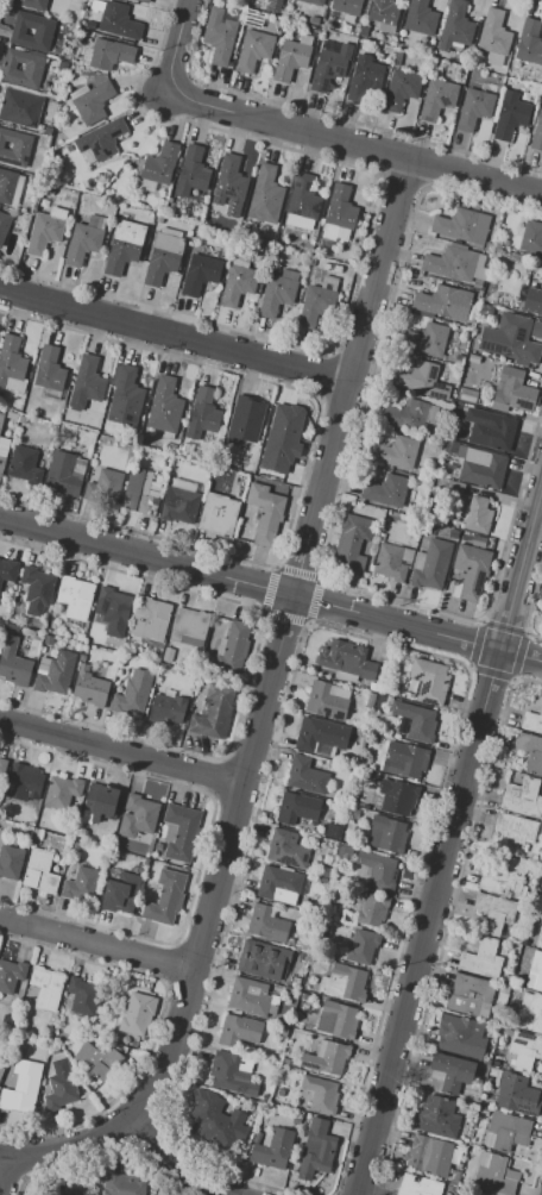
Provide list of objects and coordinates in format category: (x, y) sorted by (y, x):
building: (145, 1)
building: (313, 2)
building: (29, 4)
building: (347, 7)
building: (384, 11)
building: (253, 17)
building: (420, 18)
building: (313, 20)
building: (119, 21)
building: (455, 27)
building: (43, 32)
building: (313, 32)
building: (220, 36)
building: (494, 38)
building: (529, 43)
road: (174, 48)
building: (254, 50)
building: (109, 54)
building: (292, 57)
building: (330, 64)
building: (33, 67)
building: (366, 77)
building: (401, 89)
building: (437, 99)
building: (92, 101)
building: (20, 107)
building: (474, 108)
building: (510, 115)
building: (537, 133)
building: (100, 142)
road: (352, 144)
building: (14, 148)
building: (158, 167)
building: (193, 171)
building: (231, 186)
building: (10, 187)
building: (265, 195)
building: (302, 204)
building: (340, 207)
building: (159, 218)
building: (4, 225)
building: (462, 226)
building: (45, 230)
building: (531, 238)
building: (84, 240)
building: (169, 240)
building: (122, 245)
building: (307, 248)
building: (450, 262)
building: (159, 267)
building: (332, 268)
building: (200, 274)
building: (480, 274)
building: (238, 282)
building: (478, 283)
building: (278, 292)
building: (532, 301)
building: (317, 302)
building: (445, 304)
building: (536, 329)
road: (175, 334)
building: (510, 339)
building: (427, 340)
building: (473, 361)
building: (11, 363)
building: (49, 369)
building: (416, 376)
building: (87, 386)
building: (512, 390)
building: (51, 394)
building: (125, 396)
building: (459, 396)
building: (10, 401)
building: (165, 406)
building: (458, 408)
building: (204, 414)
building: (410, 415)
building: (454, 417)
building: (1, 419)
building: (21, 420)
building: (245, 420)
building: (281, 430)
building: (493, 433)
building: (449, 446)
building: (4, 452)
building: (396, 452)
building: (42, 461)
building: (24, 465)
building: (481, 467)
building: (64, 474)
building: (105, 487)
building: (455, 488)
building: (389, 492)
building: (140, 493)
building: (182, 506)
building: (265, 513)
building: (478, 515)
building: (216, 520)
road: (536, 521)
building: (453, 533)
building: (479, 542)
building: (353, 543)
building: (392, 561)
building: (431, 564)
building: (7, 570)
building: (469, 571)
road: (271, 588)
building: (37, 590)
building: (75, 597)
building: (112, 606)
building: (150, 619)
building: (189, 627)
road: (279, 639)
building: (49, 640)
building: (233, 647)
building: (168, 655)
building: (155, 658)
building: (347, 661)
building: (13, 663)
building: (162, 669)
building: (55, 672)
building: (429, 681)
building: (372, 686)
building: (89, 687)
building: (133, 693)
building: (327, 700)
building: (370, 700)
building: (379, 703)
building: (168, 711)
building: (214, 712)
building: (418, 721)
building: (532, 722)
building: (322, 737)
building: (531, 751)
road: (121, 753)
building: (406, 761)
building: (2, 767)
building: (378, 768)
building: (305, 776)
building: (24, 782)
building: (61, 792)
building: (361, 796)
building: (397, 797)
building: (523, 797)
building: (100, 803)
building: (297, 807)
building: (365, 807)
building: (354, 812)
building: (137, 817)
building: (328, 830)
building: (181, 832)
building: (515, 832)
building: (387, 834)
road: (448, 836)
building: (158, 847)
building: (286, 850)
building: (345, 850)
building: (11, 861)
building: (378, 870)
building: (39, 871)
building: (326, 871)
building: (503, 880)
building: (321, 882)
building: (81, 883)
building: (279, 886)
building: (540, 891)
building: (115, 897)
building: (165, 897)
building: (541, 905)
building: (371, 909)
building: (494, 912)
building: (266, 924)
building: (540, 937)
road: (97, 945)
building: (307, 947)
building: (361, 947)
building: (263, 959)
building: (481, 959)
building: (535, 971)
building: (11, 975)
building: (295, 982)
building: (344, 983)
building: (46, 987)
building: (83, 996)
building: (469, 996)
building: (250, 997)
building: (530, 1012)
building: (138, 1013)
building: (7, 1019)
building: (336, 1019)
building: (238, 1030)
building: (279, 1031)
building: (459, 1037)
building: (56, 1049)
building: (524, 1050)
building: (327, 1057)
building: (99, 1059)
building: (284, 1061)
building: (1, 1070)
building: (452, 1071)
building: (232, 1074)
building: (21, 1085)
building: (59, 1085)
building: (281, 1091)
building: (513, 1093)
building: (321, 1095)
building: (305, 1115)
building: (437, 1116)
road: (125, 1118)
building: (216, 1120)
building: (296, 1120)
building: (505, 1132)
building: (258, 1138)
building: (273, 1149)
building: (316, 1150)
building: (428, 1155)
road: (1, 1162)
building: (494, 1174)
building: (454, 1177)
building: (122, 1184)
building: (417, 1185)
building: (74, 1193)
building: (90, 1194)
building: (475, 1194)

